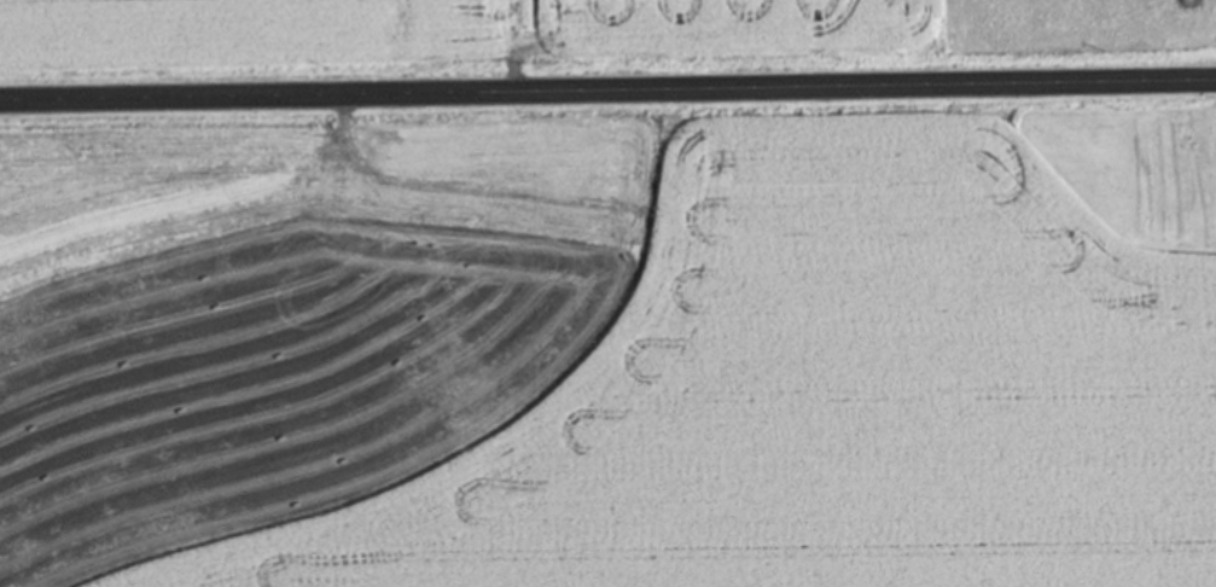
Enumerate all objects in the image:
road: (607, 88)

